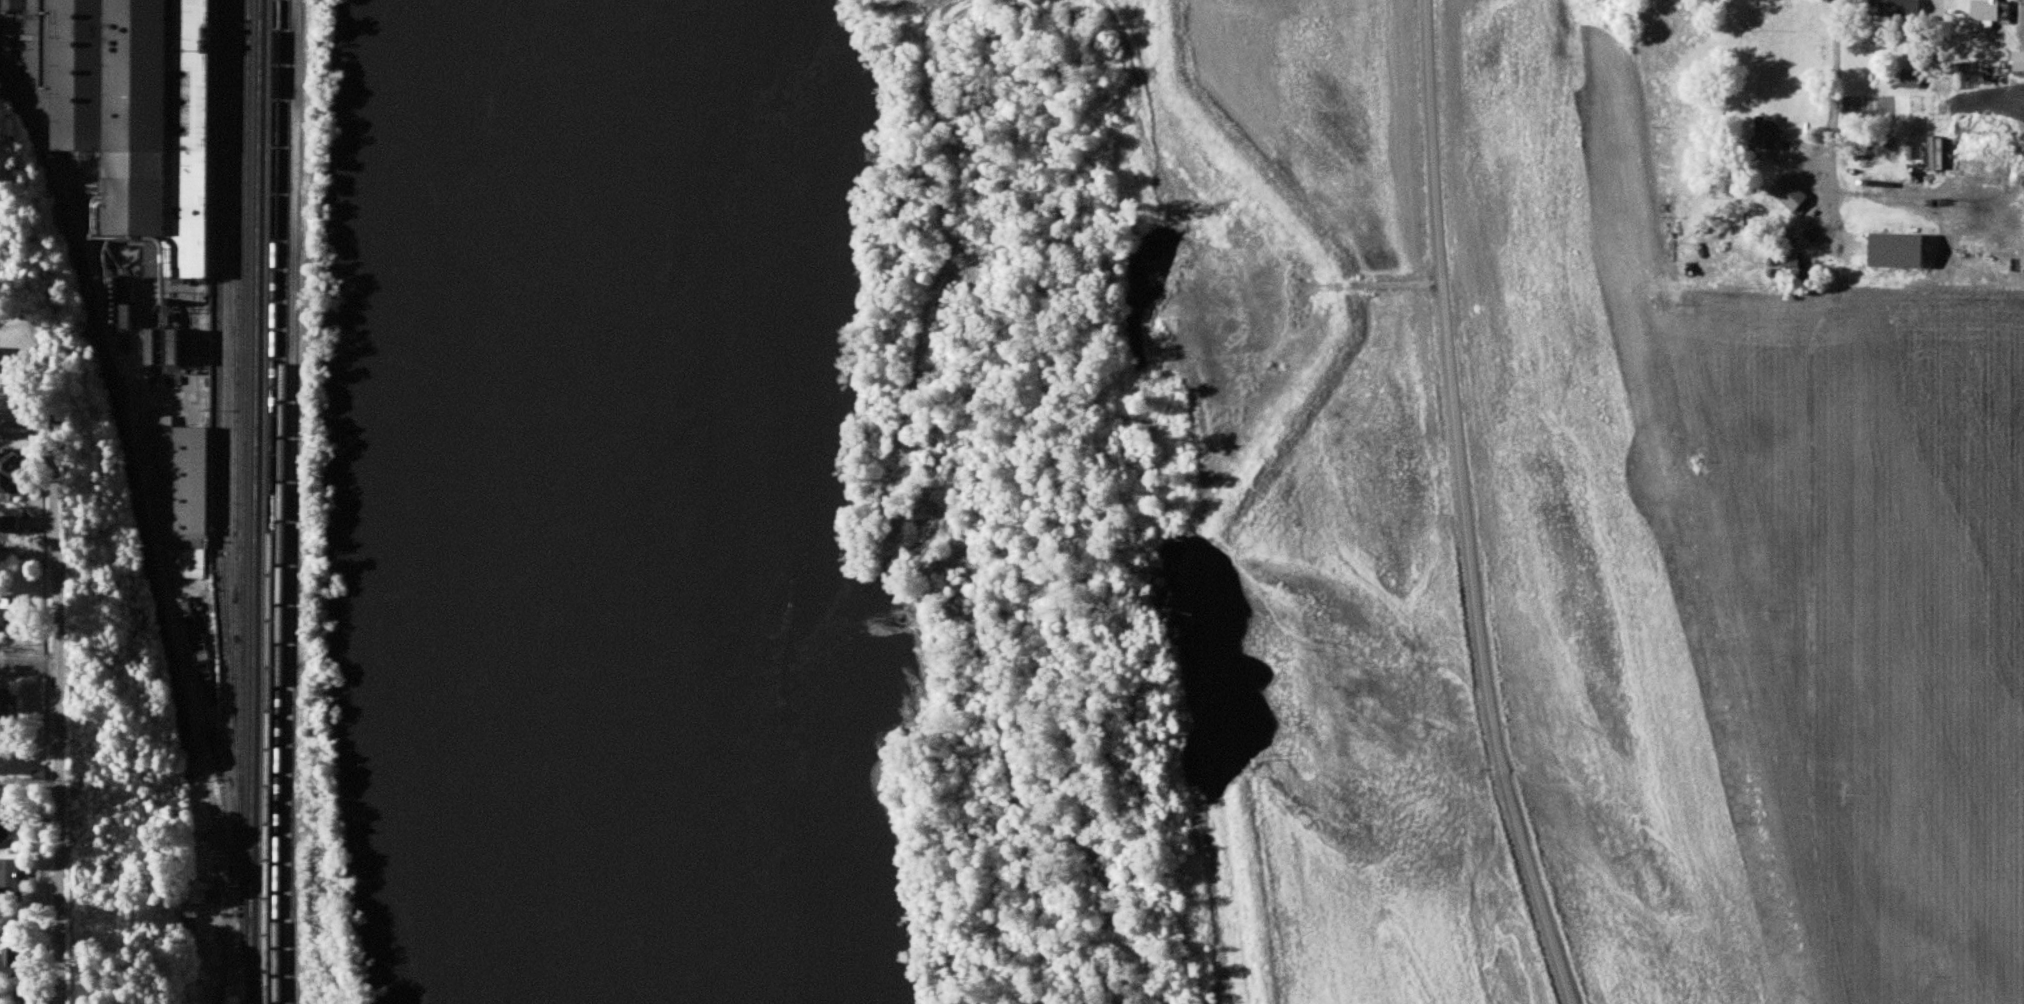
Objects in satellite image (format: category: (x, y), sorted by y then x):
building: (192, 1)
building: (1892, 8)
building: (1988, 12)
building: (2018, 73)
building: (1909, 81)
road: (1838, 93)
building: (126, 117)
building: (1764, 134)
building: (1786, 195)
building: (1787, 263)
railway: (217, 323)
railway: (228, 366)
railway: (236, 406)
road: (33, 420)
building: (19, 473)
railway: (273, 478)
railway: (243, 488)
building: (183, 496)
river: (634, 501)
railway: (253, 502)
railway: (263, 502)
railway: (282, 502)
road: (1466, 507)
building: (15, 525)
railway: (161, 567)
building: (184, 611)
building: (11, 616)
road: (30, 666)
building: (10, 709)
road: (61, 719)
building: (188, 764)
road: (30, 784)
building: (6, 827)
building: (11, 881)
building: (199, 893)
road: (220, 921)
building: (205, 940)
building: (15, 964)
railway: (268, 980)

